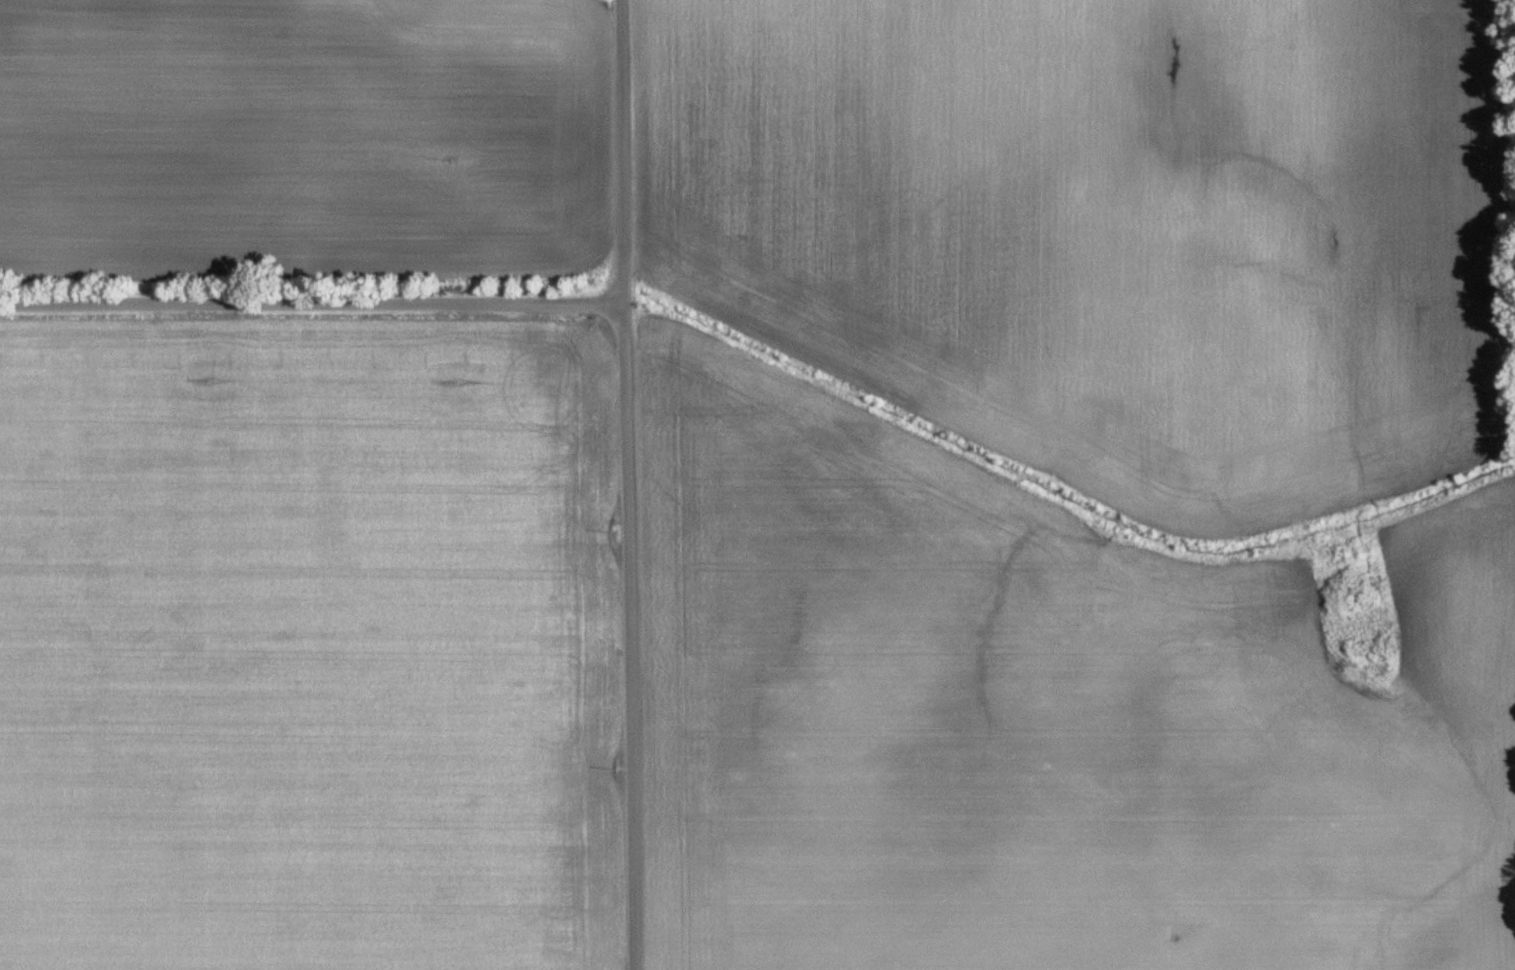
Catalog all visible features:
road: (312, 301)
road: (627, 484)

